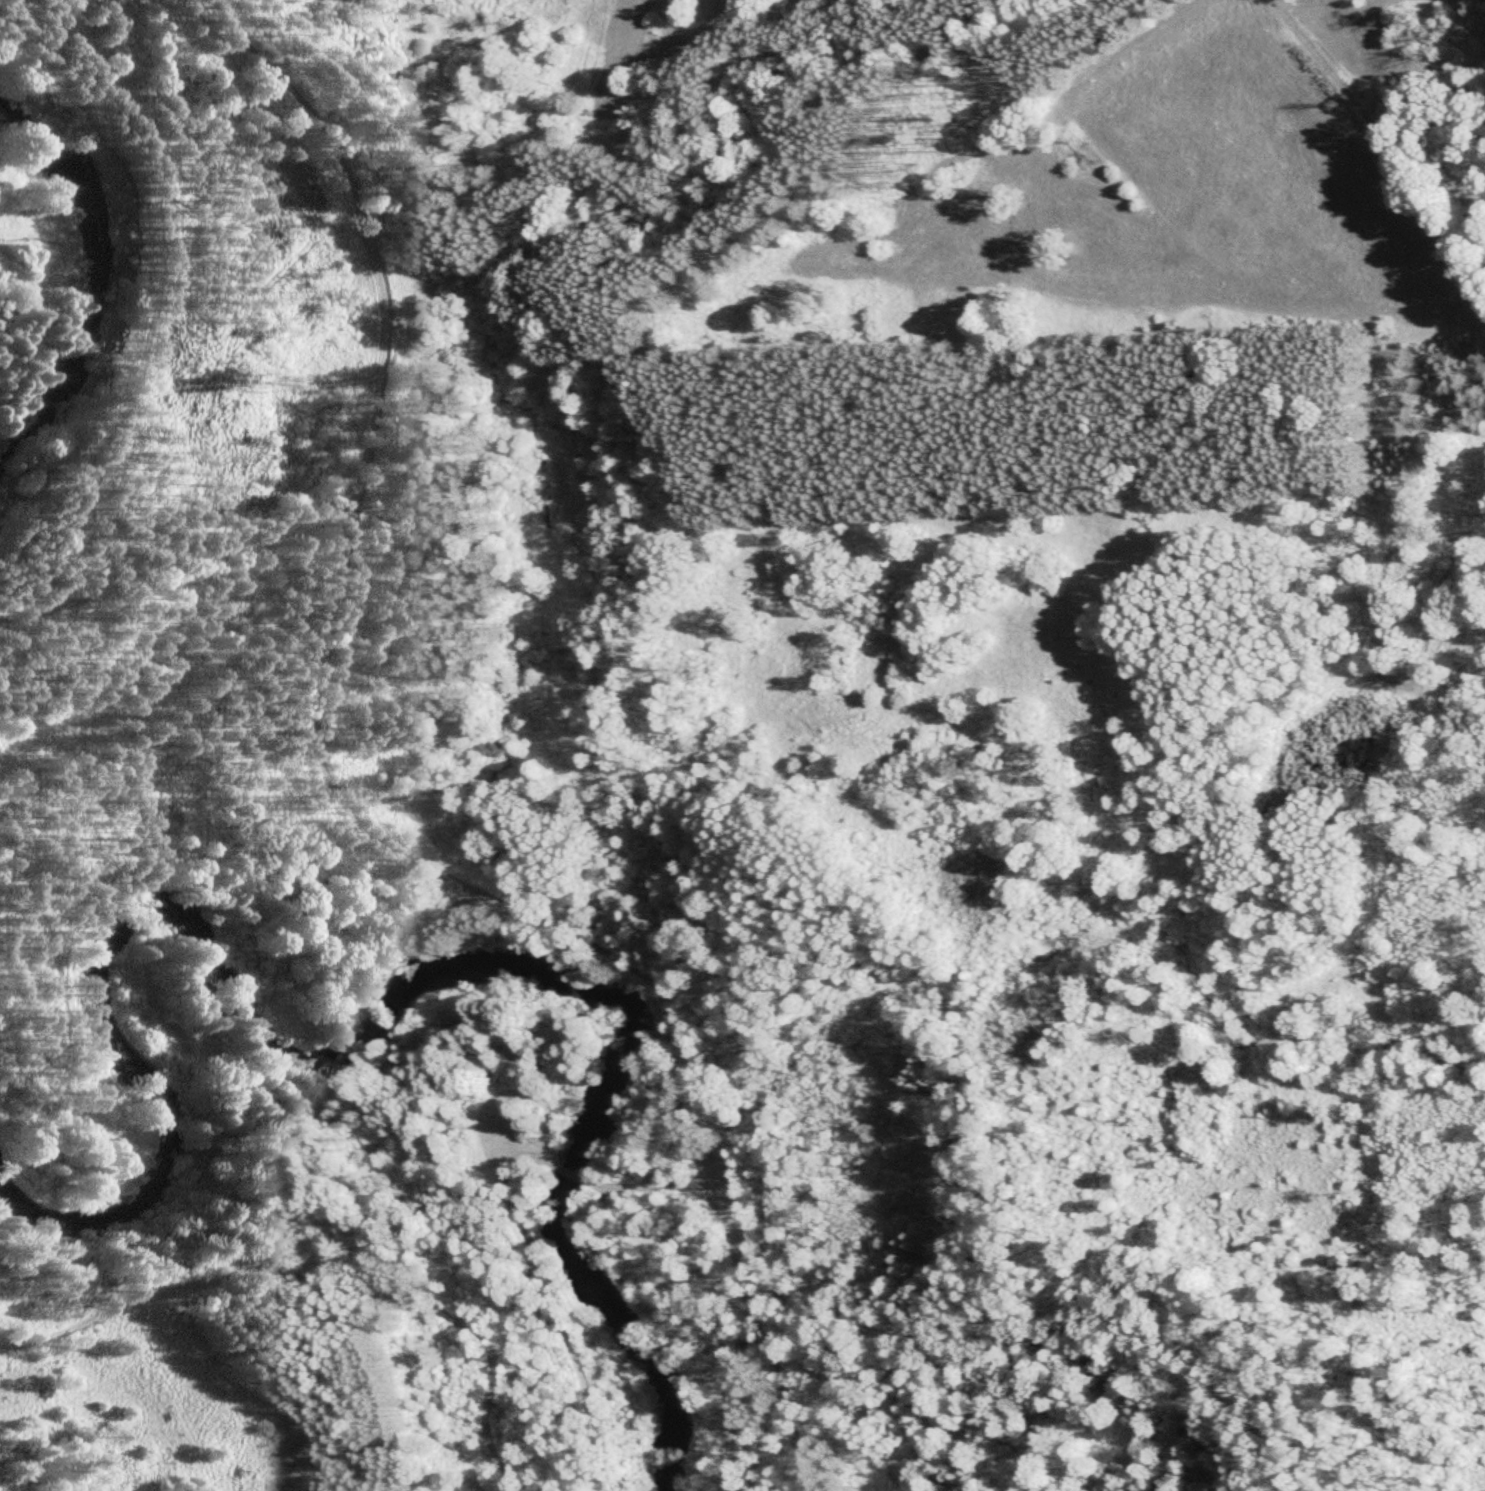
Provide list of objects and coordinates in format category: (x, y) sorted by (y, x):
road: (1373, 142)
river: (100, 282)
road: (350, 812)
river: (363, 1034)
road: (579, 1174)
road: (665, 1184)
road: (326, 1278)
road: (558, 1301)

